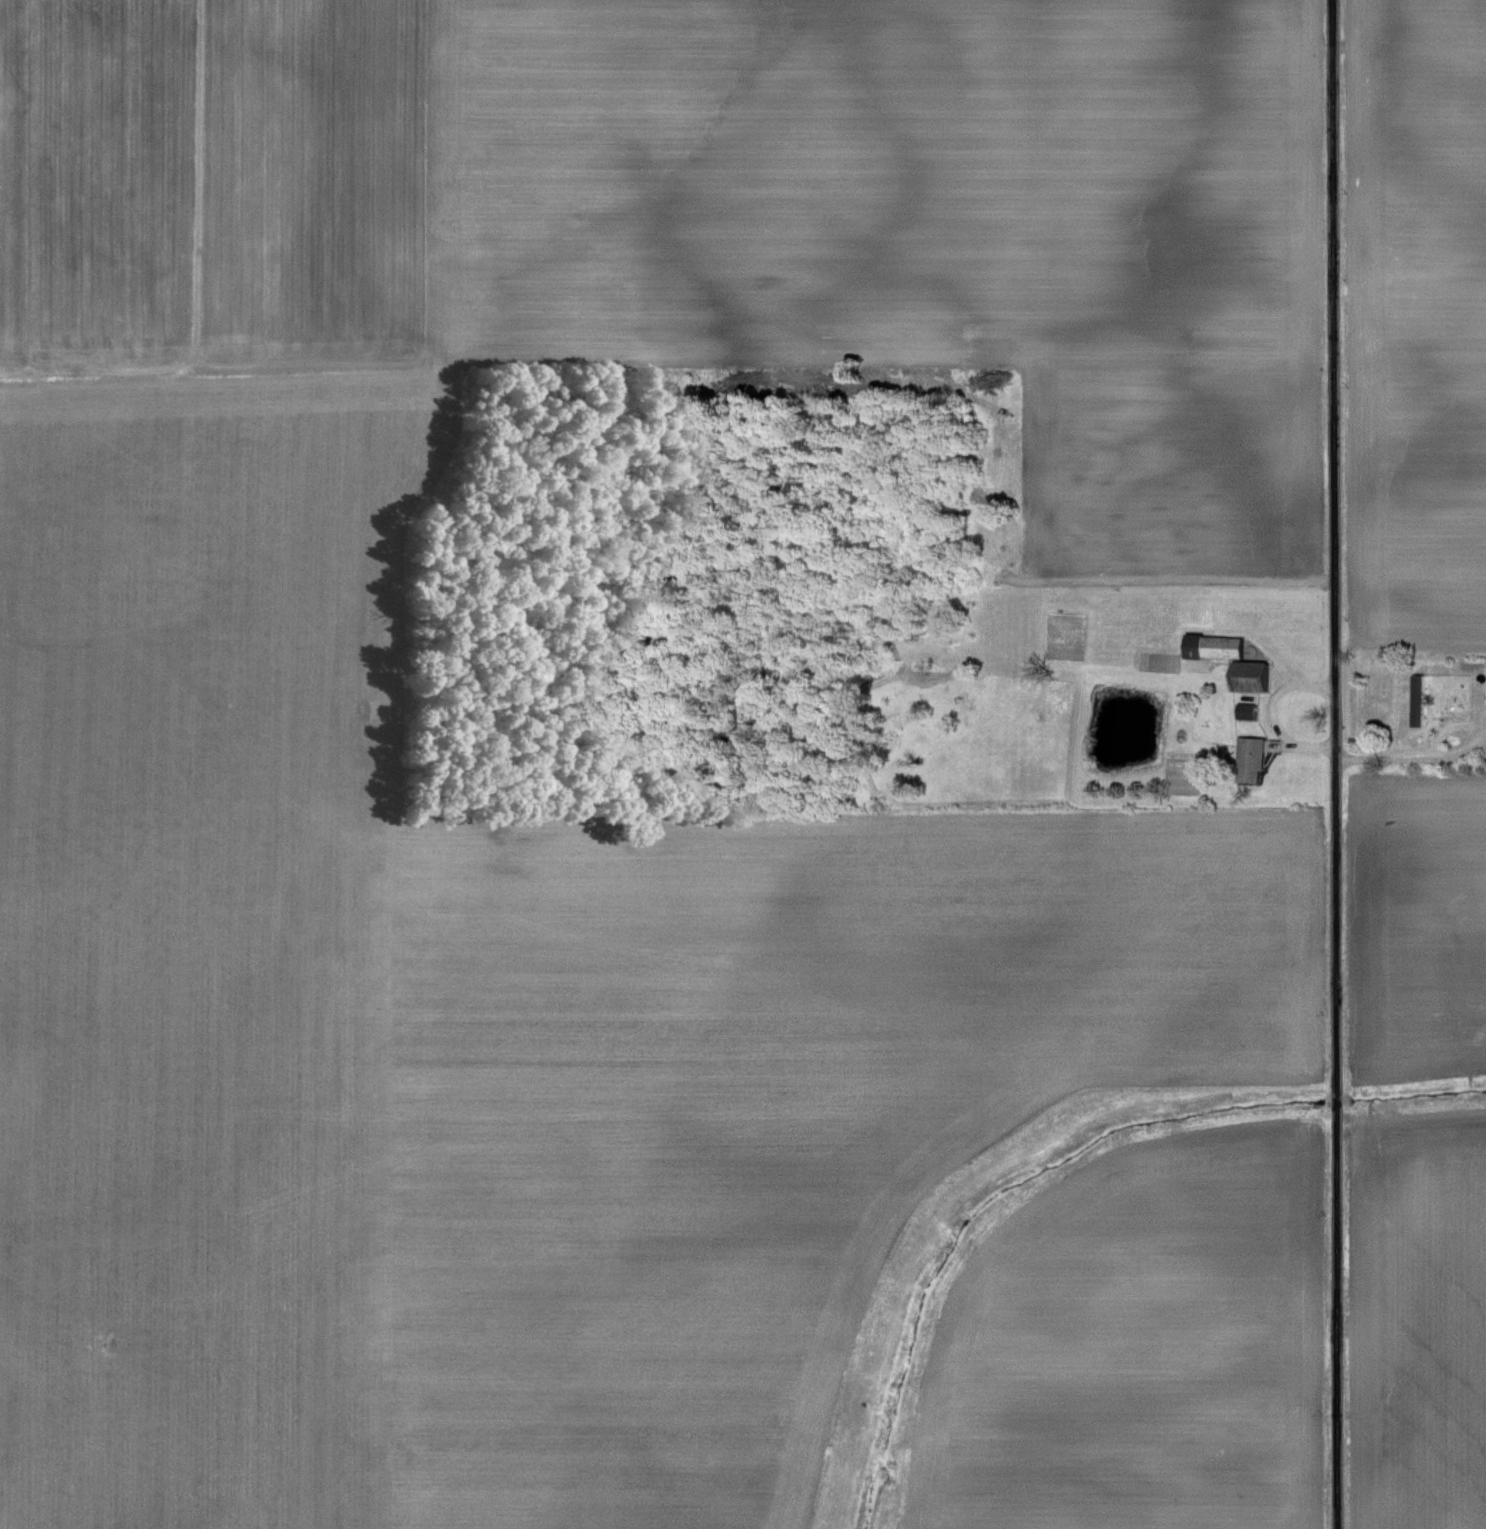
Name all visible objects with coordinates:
road: (1232, 629)
building: (1210, 645)
building: (1245, 675)
building: (1415, 698)
building: (1242, 709)
road: (1410, 756)
building: (1247, 757)
road: (1331, 764)

